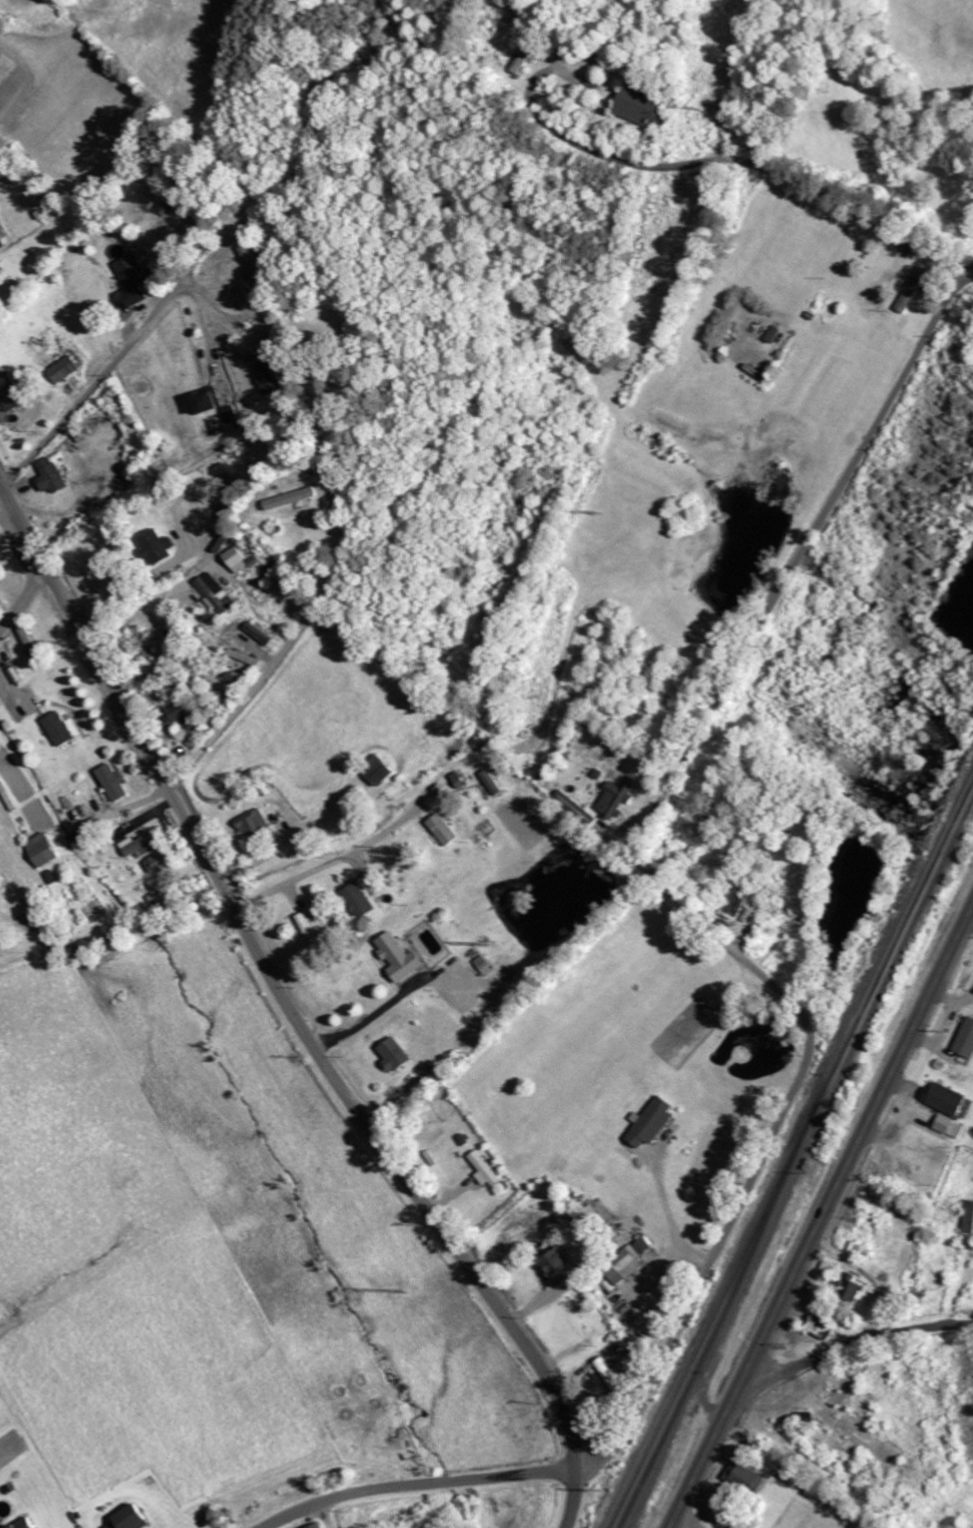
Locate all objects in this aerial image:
building: (527, 59)
building: (644, 108)
building: (2, 242)
building: (255, 265)
building: (134, 280)
building: (65, 370)
building: (273, 377)
road: (97, 383)
building: (10, 392)
building: (211, 400)
building: (53, 476)
building: (295, 498)
building: (160, 547)
building: (238, 560)
building: (219, 594)
road: (301, 628)
building: (261, 633)
building: (184, 715)
building: (60, 729)
building: (380, 770)
building: (114, 783)
building: (619, 798)
building: (256, 824)
building: (445, 830)
building: (143, 844)
building: (44, 849)
building: (161, 862)
road: (671, 882)
building: (361, 899)
building: (734, 900)
building: (403, 957)
road: (292, 1012)
building: (967, 1040)
building: (397, 1055)
building: (949, 1099)
building: (653, 1122)
building: (951, 1127)
railway: (792, 1157)
building: (486, 1170)
road: (821, 1217)
building: (969, 1218)
building: (631, 1262)
building: (557, 1263)
building: (854, 1288)
railway: (715, 1310)
building: (823, 1329)
road: (850, 1345)
building: (748, 1477)
road: (414, 1483)
building: (132, 1518)
building: (28, 1523)
building: (318, 1526)

